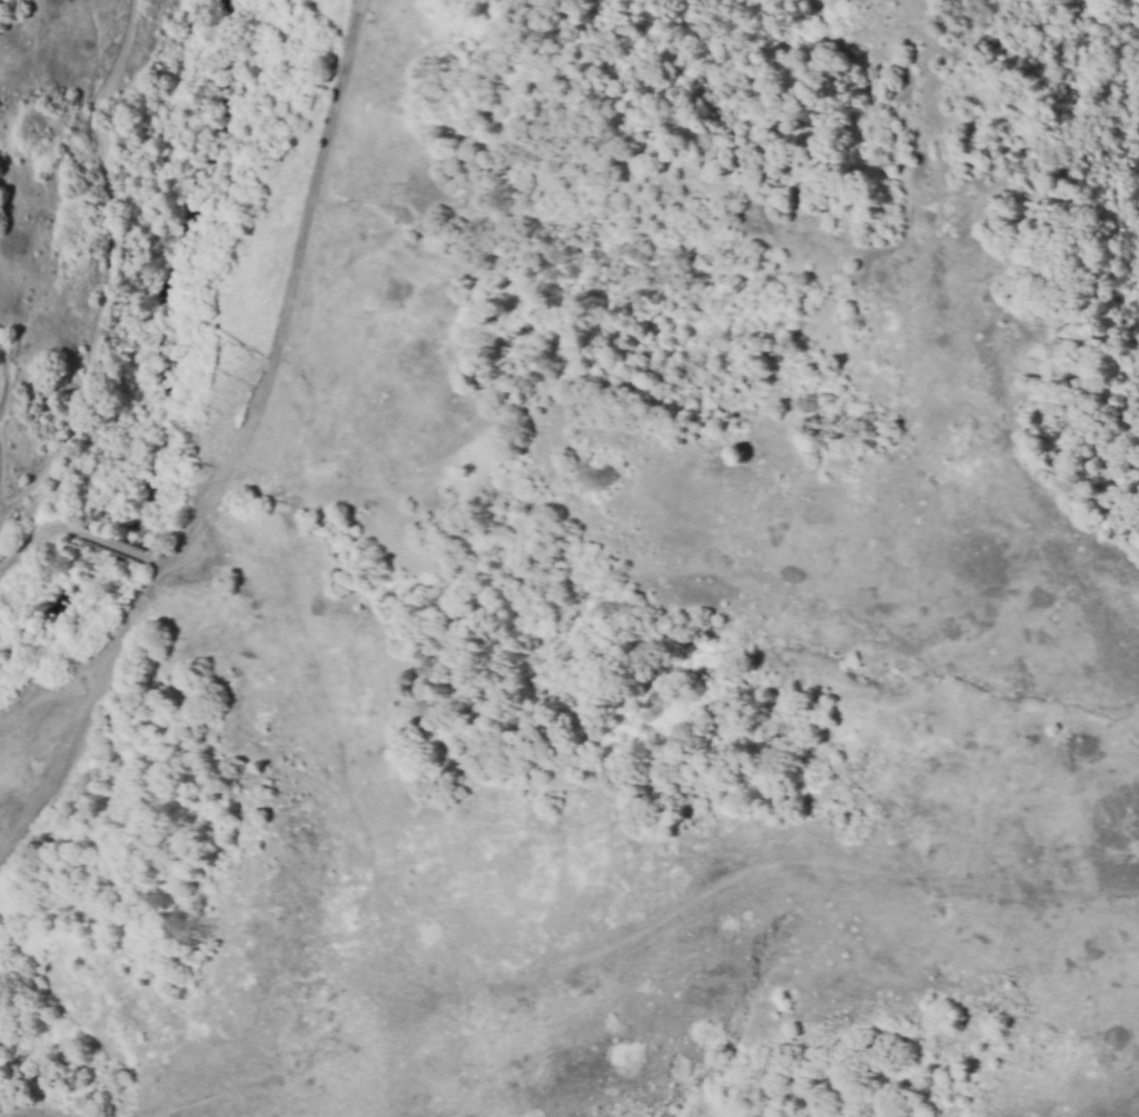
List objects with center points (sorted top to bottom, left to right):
road: (240, 459)
road: (79, 535)

